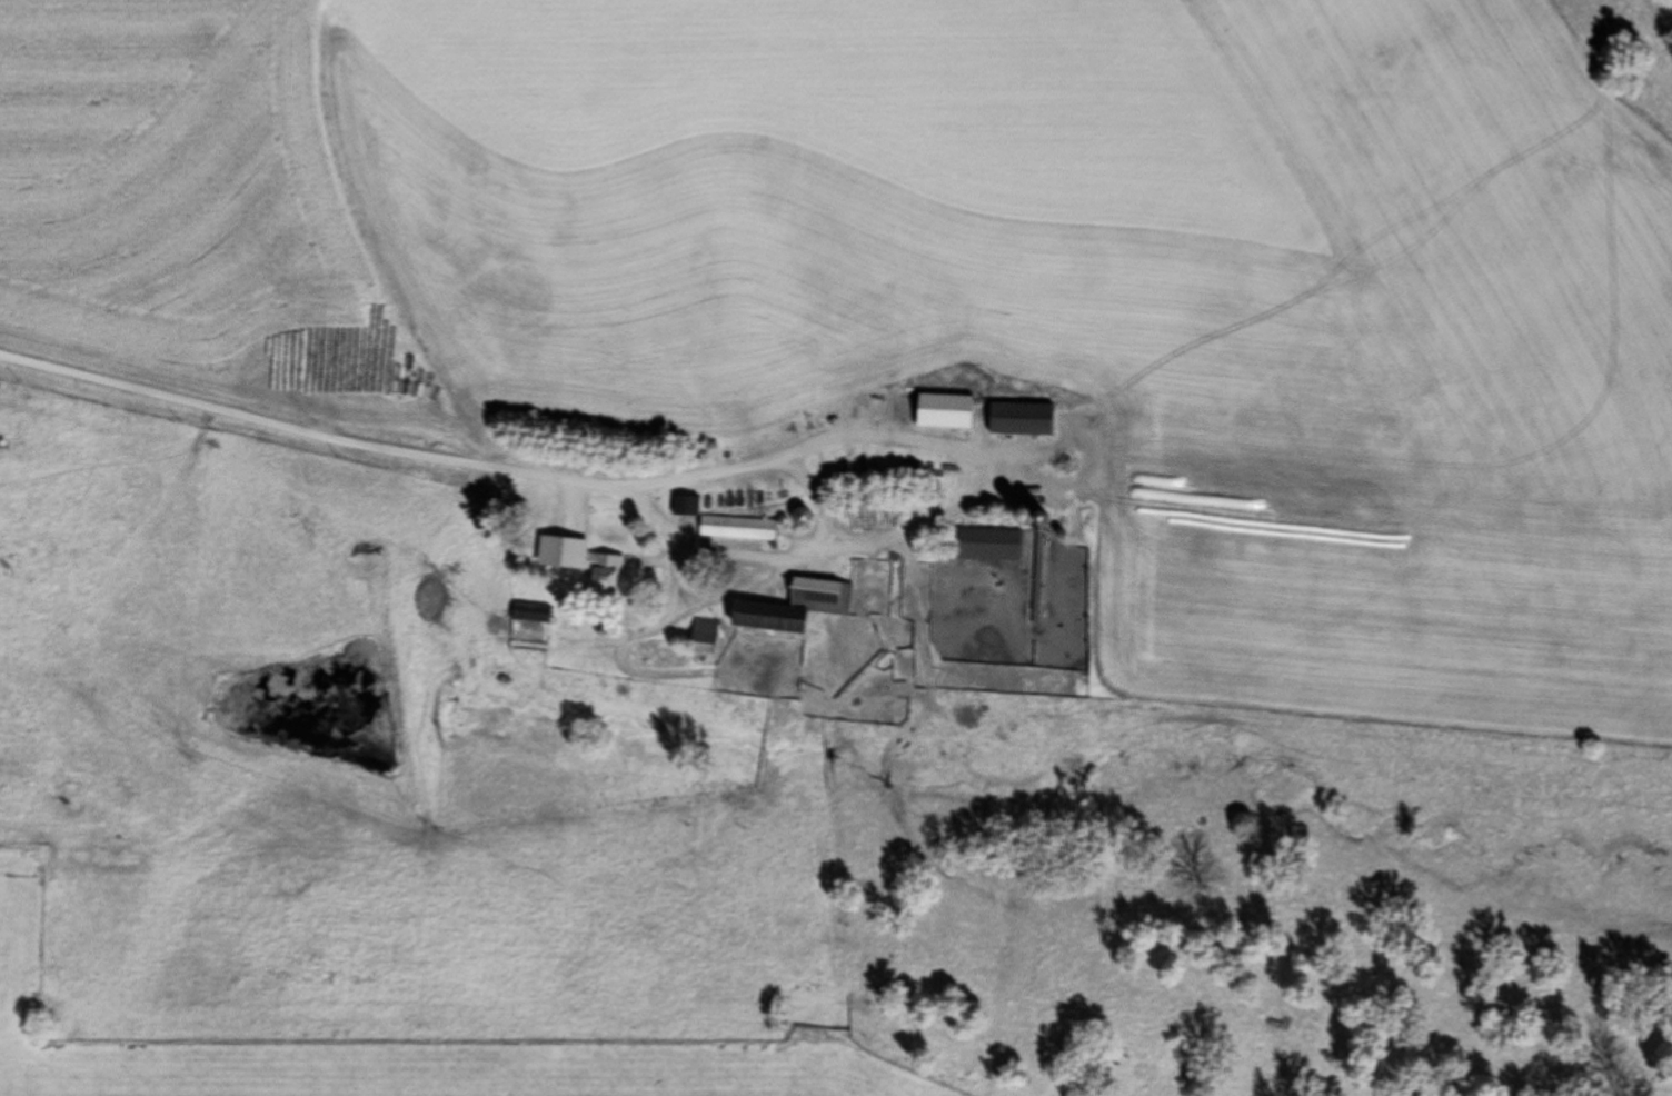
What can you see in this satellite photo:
building: (947, 411)
building: (1023, 419)
road: (290, 425)
road: (905, 438)
building: (686, 508)
building: (739, 529)
road: (883, 538)
building: (991, 546)
road: (726, 549)
road: (675, 572)
building: (608, 575)
road: (696, 607)
building: (798, 608)
building: (531, 614)
building: (706, 638)

